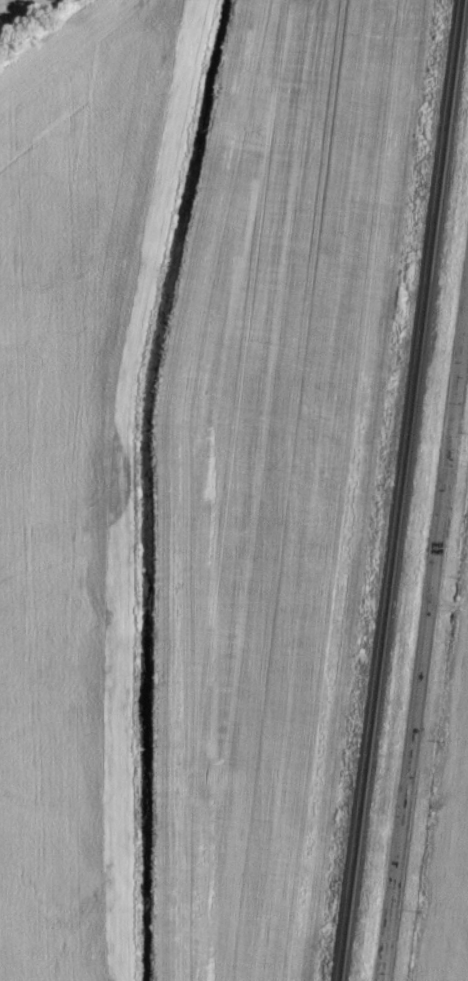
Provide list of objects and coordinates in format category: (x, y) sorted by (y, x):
railway: (404, 490)
road: (424, 647)

